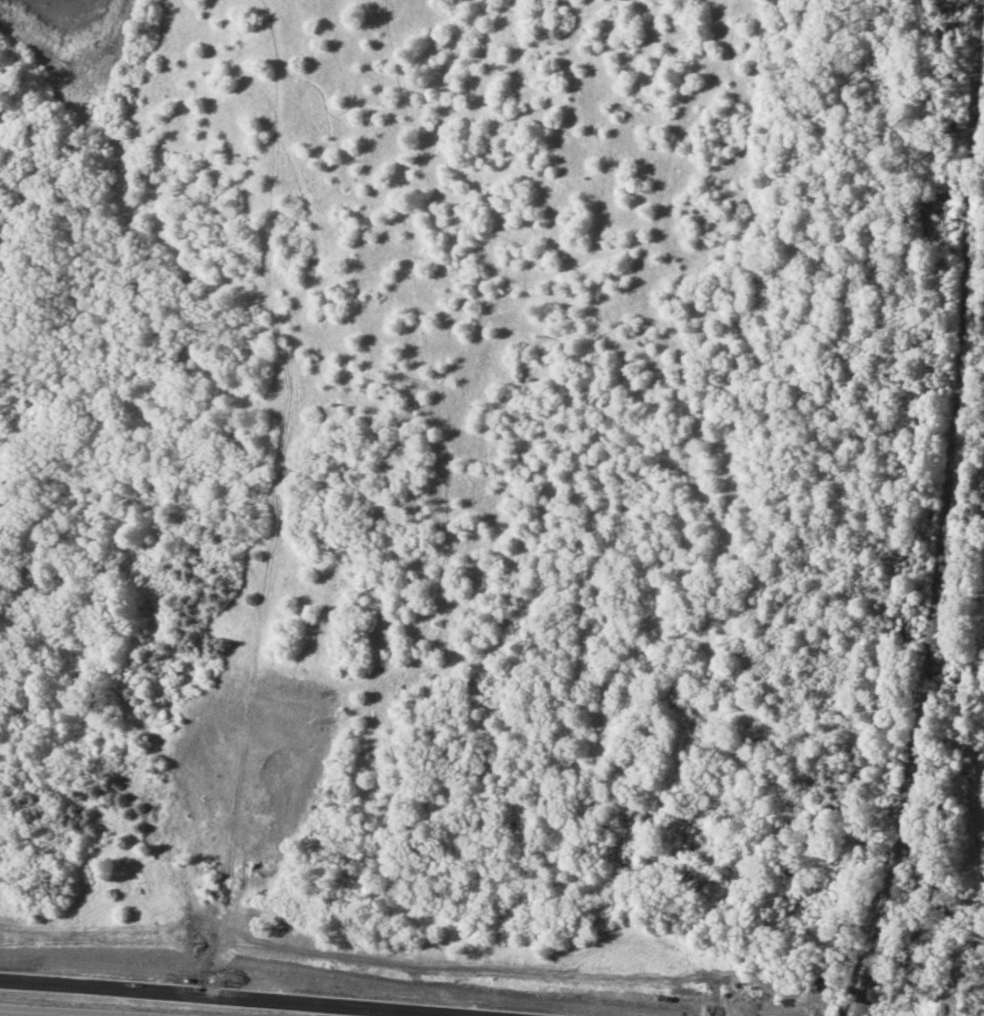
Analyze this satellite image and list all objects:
railway: (942, 511)
road: (52, 1013)

